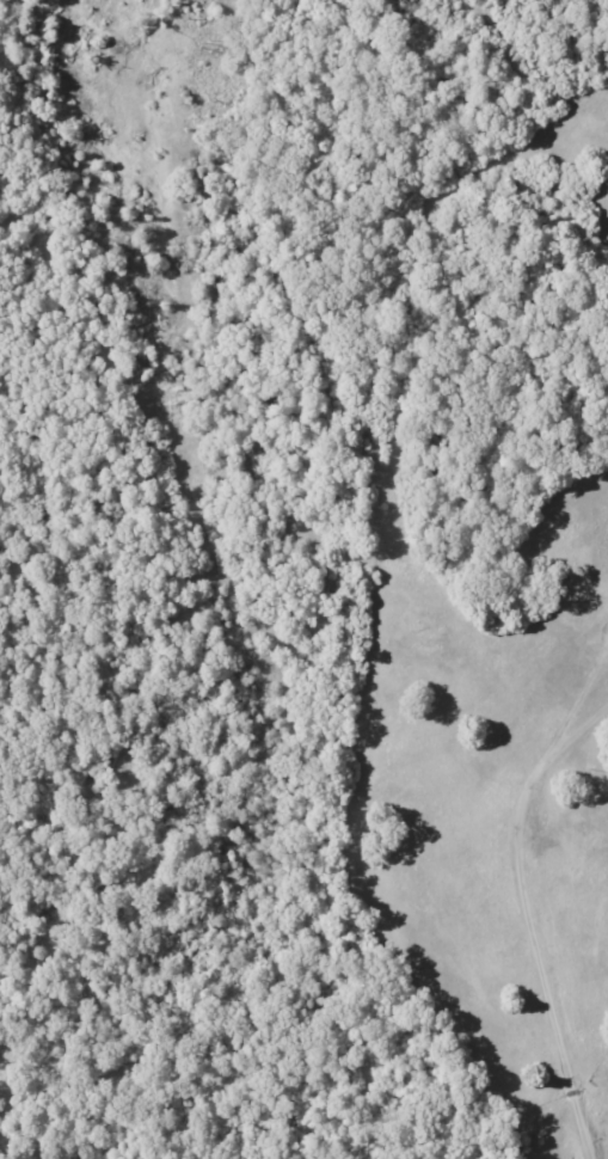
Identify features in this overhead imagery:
road: (555, 1019)

